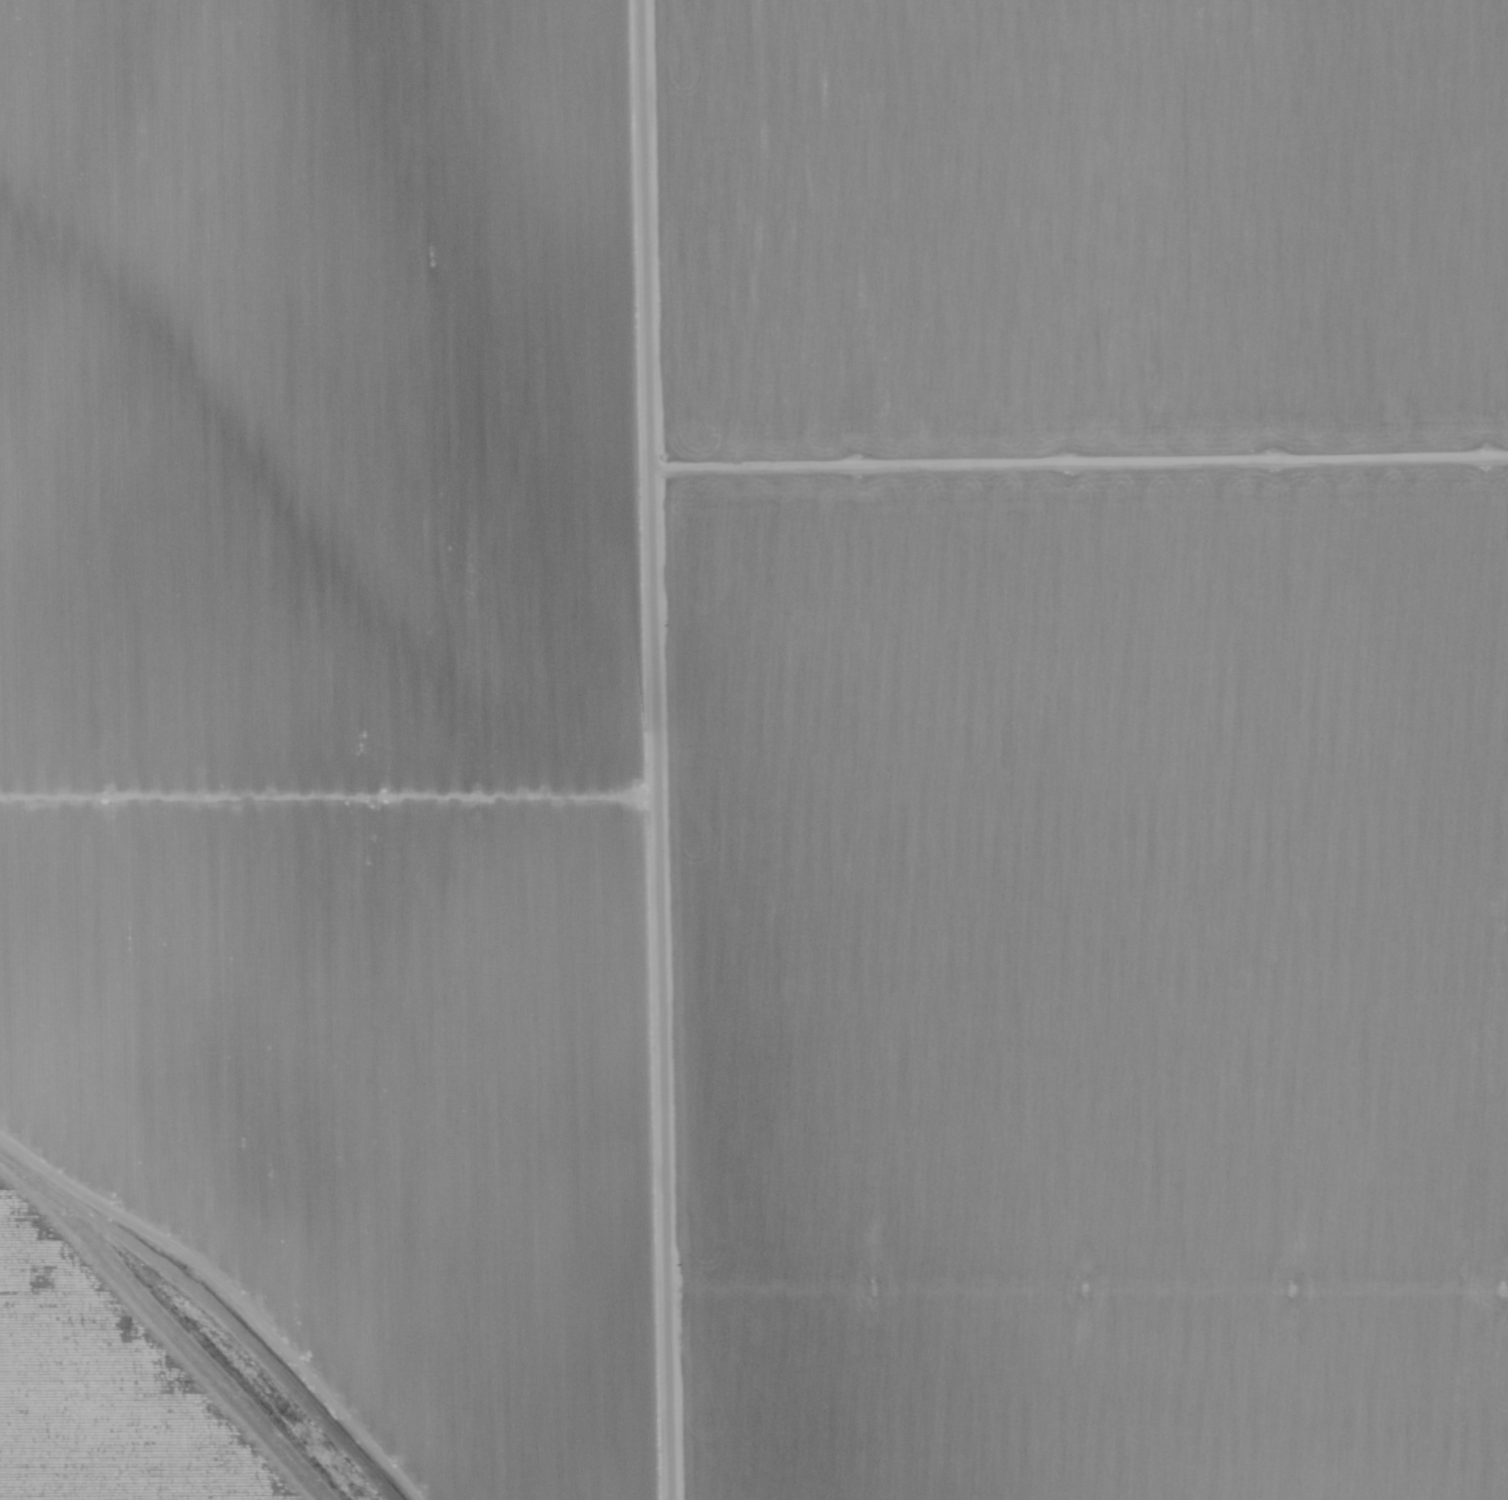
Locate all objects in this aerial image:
crop: (1097, 244)
crop: (340, 700)
road: (659, 749)
crop: (1103, 993)
crop: (143, 1375)

